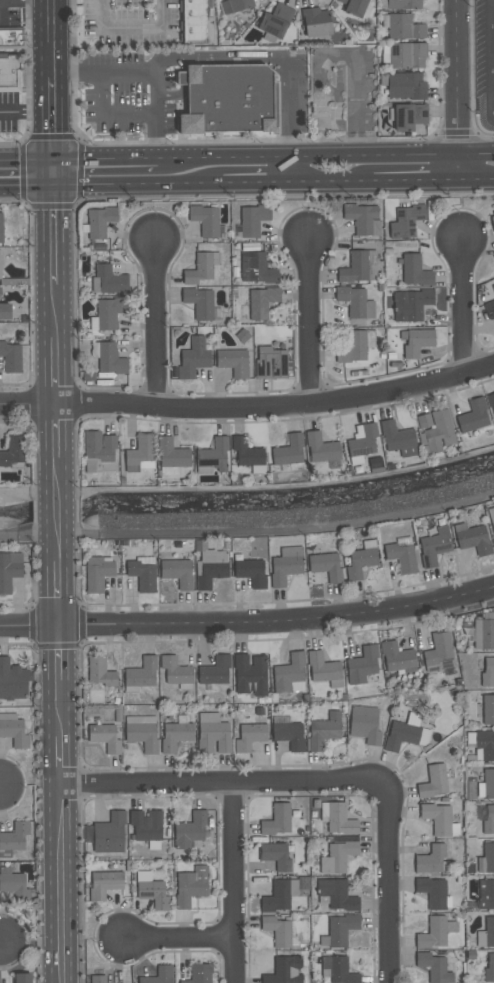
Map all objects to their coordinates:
building: (403, 4)
building: (234, 6)
building: (353, 7)
building: (275, 21)
road: (53, 22)
building: (192, 22)
building: (316, 22)
building: (404, 27)
road: (134, 31)
building: (11, 39)
building: (407, 55)
road: (218, 57)
road: (492, 57)
road: (53, 61)
road: (69, 73)
building: (9, 74)
building: (406, 86)
road: (455, 90)
road: (152, 91)
road: (356, 94)
building: (229, 101)
road: (27, 111)
building: (420, 114)
road: (108, 115)
building: (403, 118)
road: (54, 126)
road: (153, 138)
road: (475, 152)
road: (429, 154)
road: (270, 156)
road: (346, 156)
road: (291, 157)
road: (219, 158)
road: (120, 159)
road: (28, 172)
traffic signals: (56, 173)
road: (475, 179)
road: (375, 182)
road: (244, 183)
road: (124, 184)
building: (252, 219)
building: (362, 219)
building: (99, 221)
building: (206, 221)
building: (405, 221)
building: (492, 222)
building: (1, 228)
road: (57, 229)
building: (100, 244)
building: (493, 256)
building: (200, 267)
building: (359, 267)
building: (255, 268)
building: (0, 269)
building: (414, 270)
building: (108, 280)
building: (199, 302)
building: (261, 302)
building: (355, 302)
building: (410, 304)
road: (459, 305)
building: (489, 309)
building: (4, 311)
road: (57, 311)
building: (107, 313)
road: (306, 319)
road: (156, 320)
building: (415, 341)
building: (355, 346)
building: (10, 357)
building: (108, 358)
building: (192, 359)
building: (232, 362)
building: (270, 362)
road: (57, 370)
building: (490, 402)
road: (249, 406)
building: (472, 416)
building: (423, 421)
road: (57, 430)
building: (437, 432)
building: (397, 439)
building: (360, 442)
building: (98, 446)
building: (320, 448)
building: (288, 450)
building: (12, 451)
building: (140, 452)
building: (246, 452)
building: (212, 455)
building: (171, 458)
road: (58, 470)
road: (249, 487)
road: (58, 508)
building: (491, 516)
road: (278, 530)
road: (59, 537)
building: (474, 540)
building: (435, 546)
road: (59, 550)
building: (401, 557)
building: (359, 563)
building: (286, 566)
building: (325, 566)
building: (251, 572)
building: (8, 573)
building: (177, 573)
building: (97, 574)
building: (210, 574)
building: (142, 576)
road: (59, 592)
road: (248, 619)
building: (487, 635)
building: (438, 649)
road: (60, 652)
building: (396, 657)
building: (363, 665)
building: (322, 669)
building: (100, 671)
building: (175, 671)
building: (215, 671)
building: (287, 672)
building: (142, 673)
building: (488, 673)
building: (250, 675)
building: (12, 681)
road: (61, 708)
building: (488, 709)
building: (365, 725)
building: (324, 731)
building: (14, 733)
building: (216, 735)
building: (289, 735)
building: (142, 736)
building: (175, 736)
building: (401, 736)
building: (104, 737)
building: (250, 737)
building: (485, 745)
road: (64, 758)
road: (226, 780)
building: (433, 782)
building: (488, 784)
building: (437, 818)
building: (277, 820)
building: (340, 820)
building: (489, 821)
building: (146, 825)
building: (190, 830)
building: (109, 833)
building: (13, 839)
building: (275, 856)
building: (337, 857)
building: (488, 857)
building: (431, 859)
road: (238, 881)
road: (389, 881)
road: (65, 882)
building: (104, 885)
building: (191, 886)
building: (15, 887)
building: (433, 893)
building: (153, 894)
building: (337, 895)
building: (485, 895)
building: (276, 898)
building: (341, 930)
building: (277, 931)
building: (489, 931)
building: (433, 933)
road: (179, 939)
building: (434, 968)
building: (489, 969)
building: (284, 970)
building: (341, 971)
building: (199, 973)
building: (160, 976)
building: (22, 979)
building: (97, 979)

